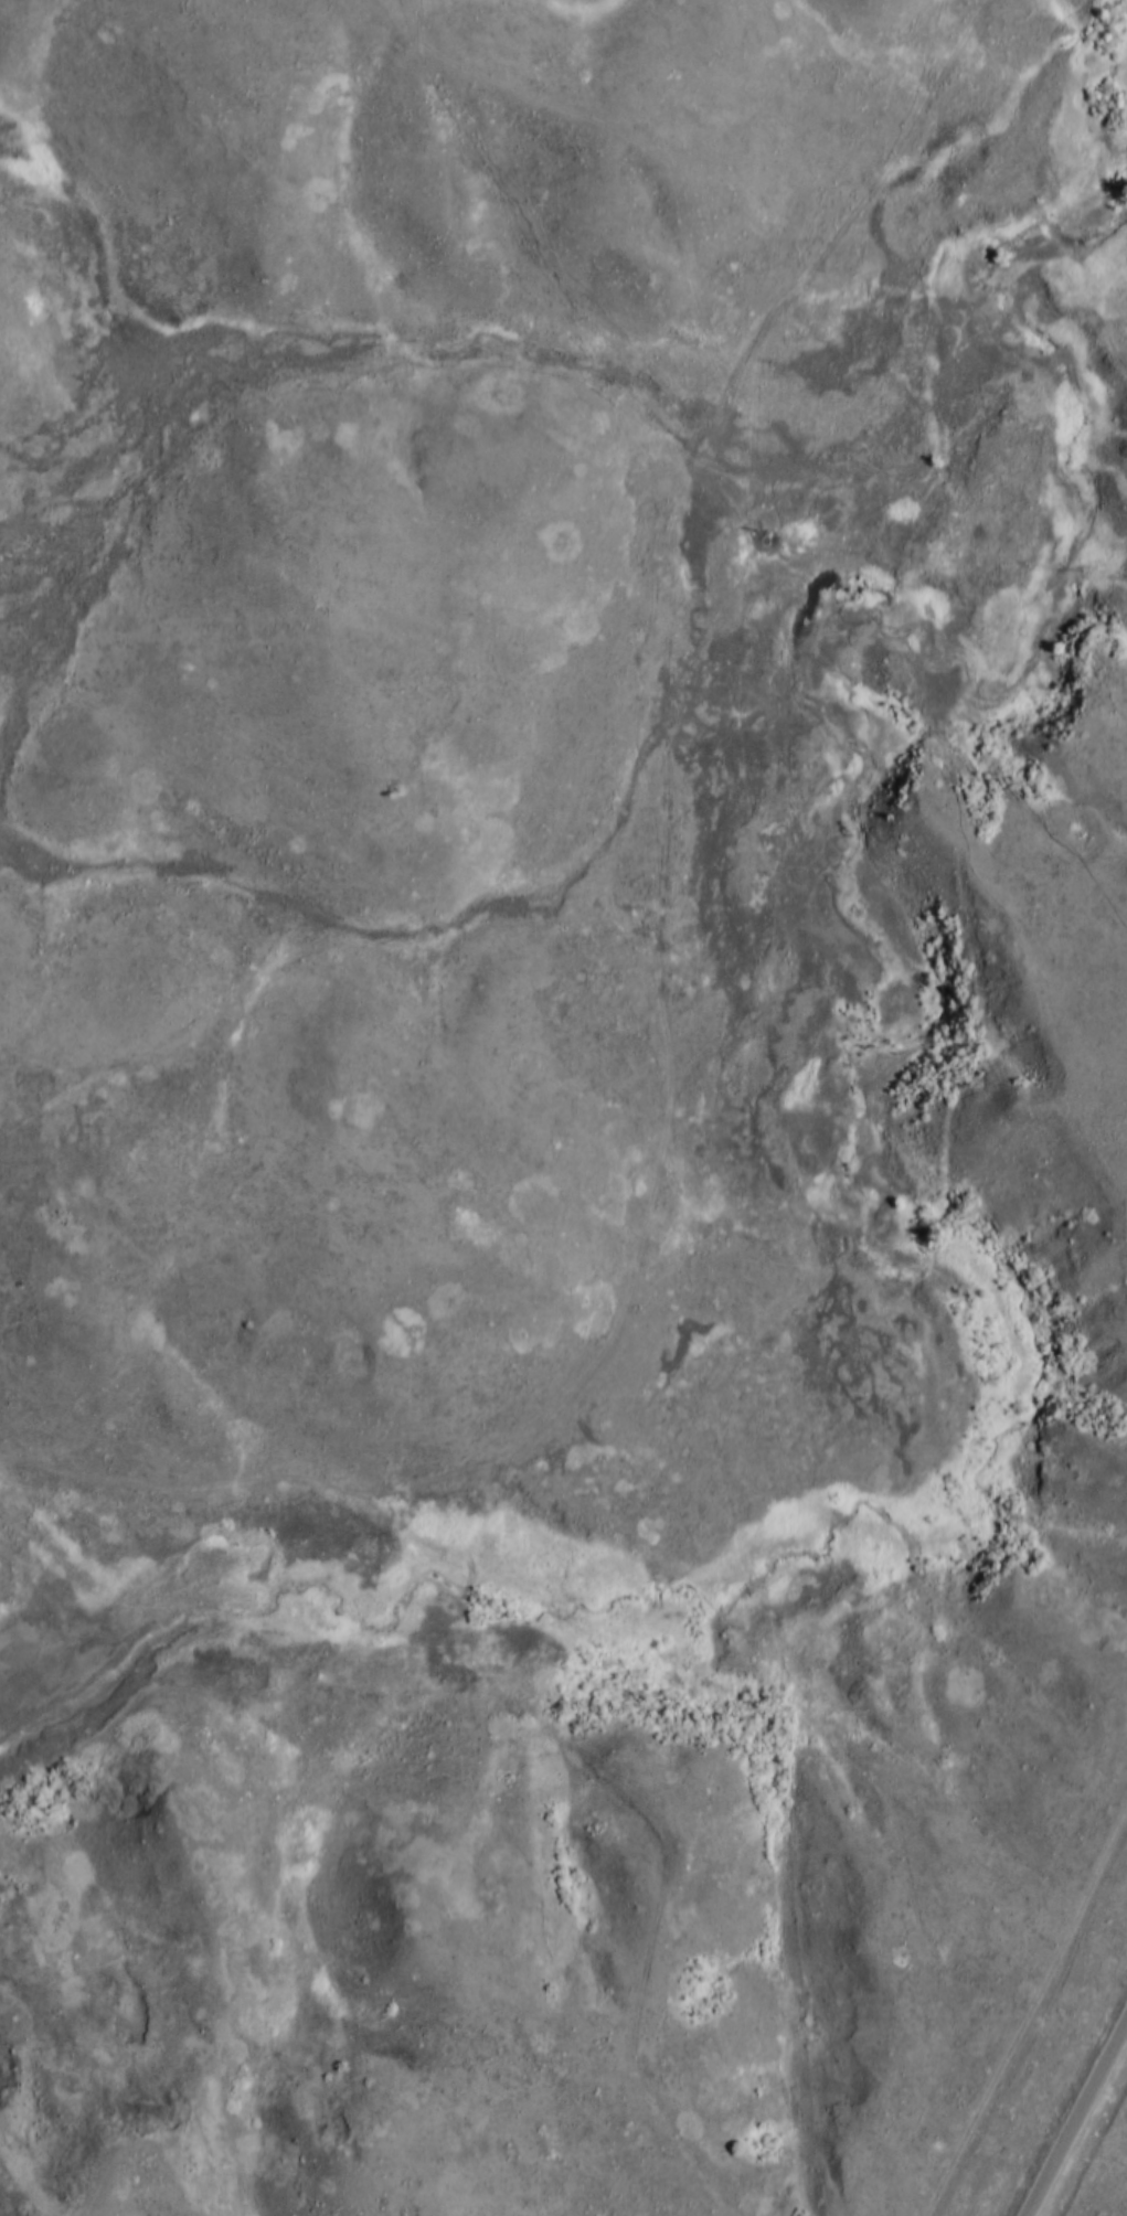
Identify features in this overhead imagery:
road: (164, 657)
road: (667, 969)
road: (632, 1836)
road: (1076, 2117)

